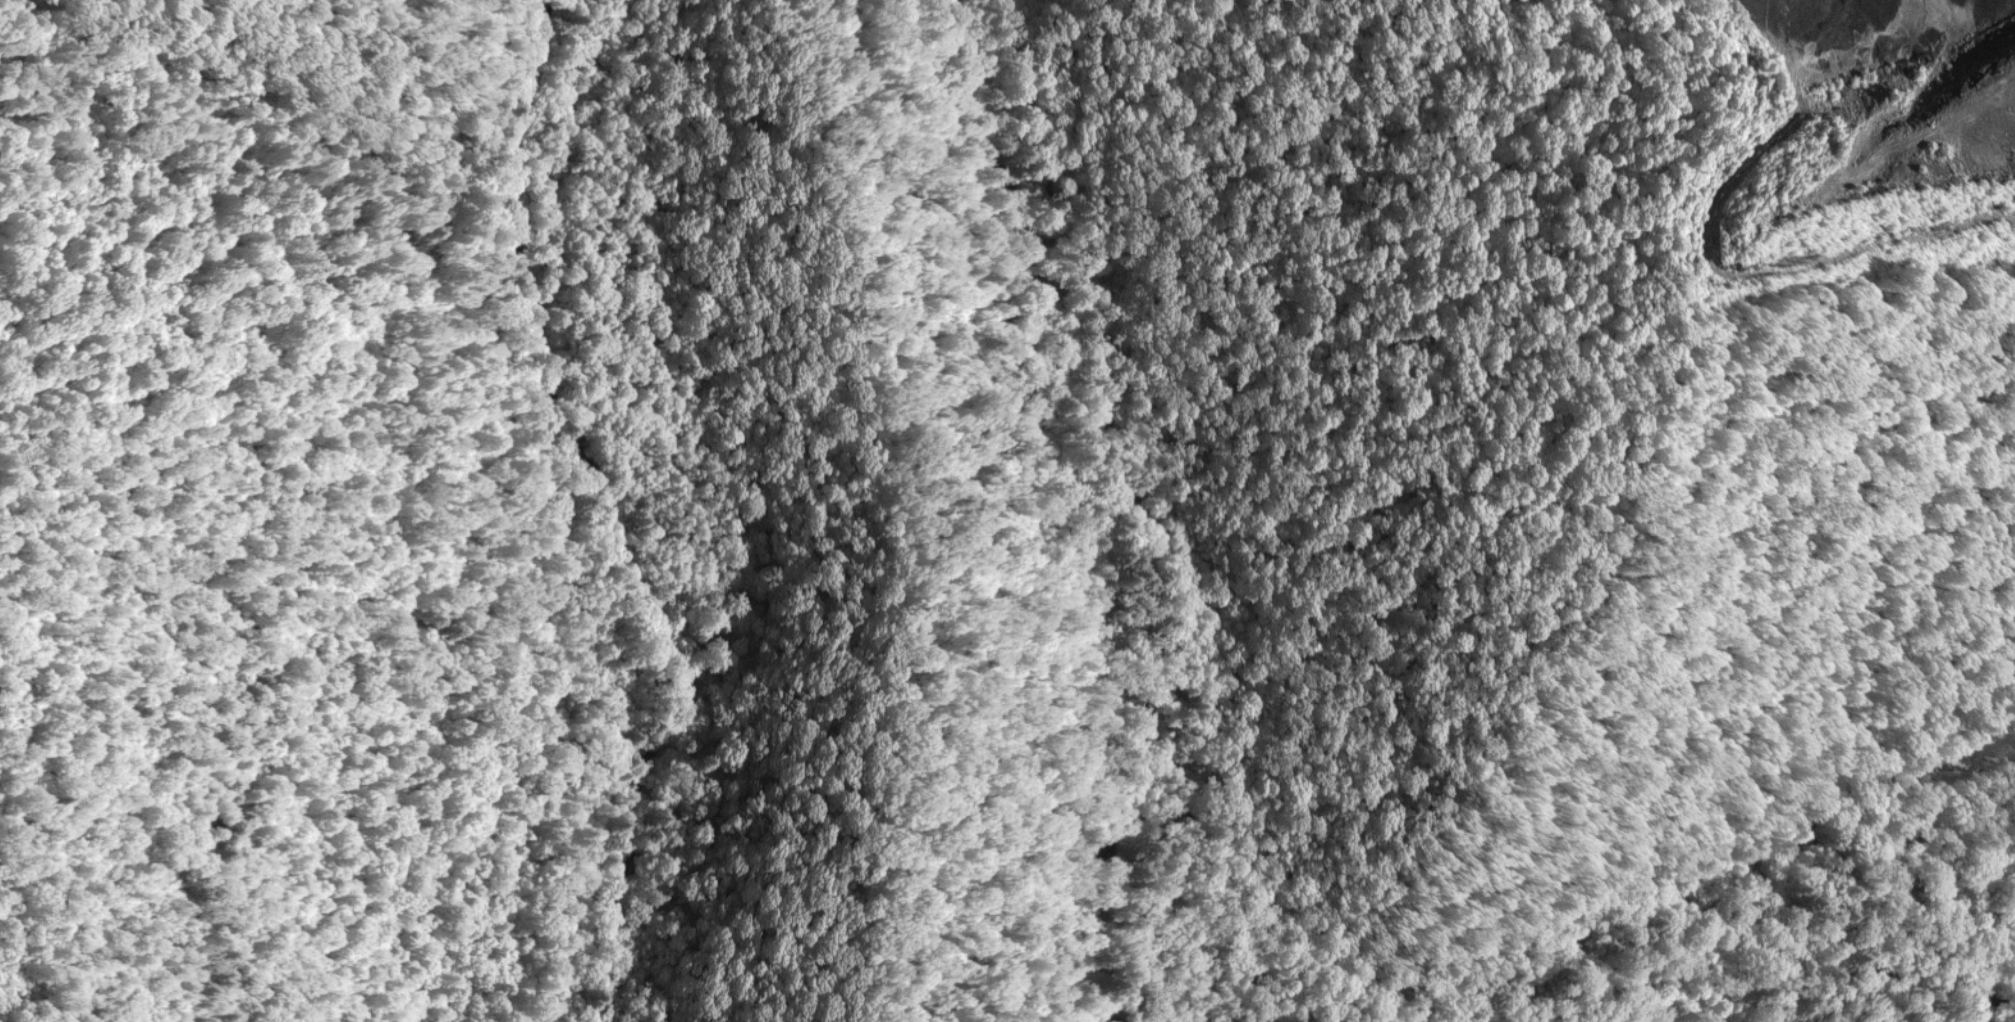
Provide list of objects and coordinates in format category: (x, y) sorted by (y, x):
road: (587, 495)
quarry: (1007, 511)

